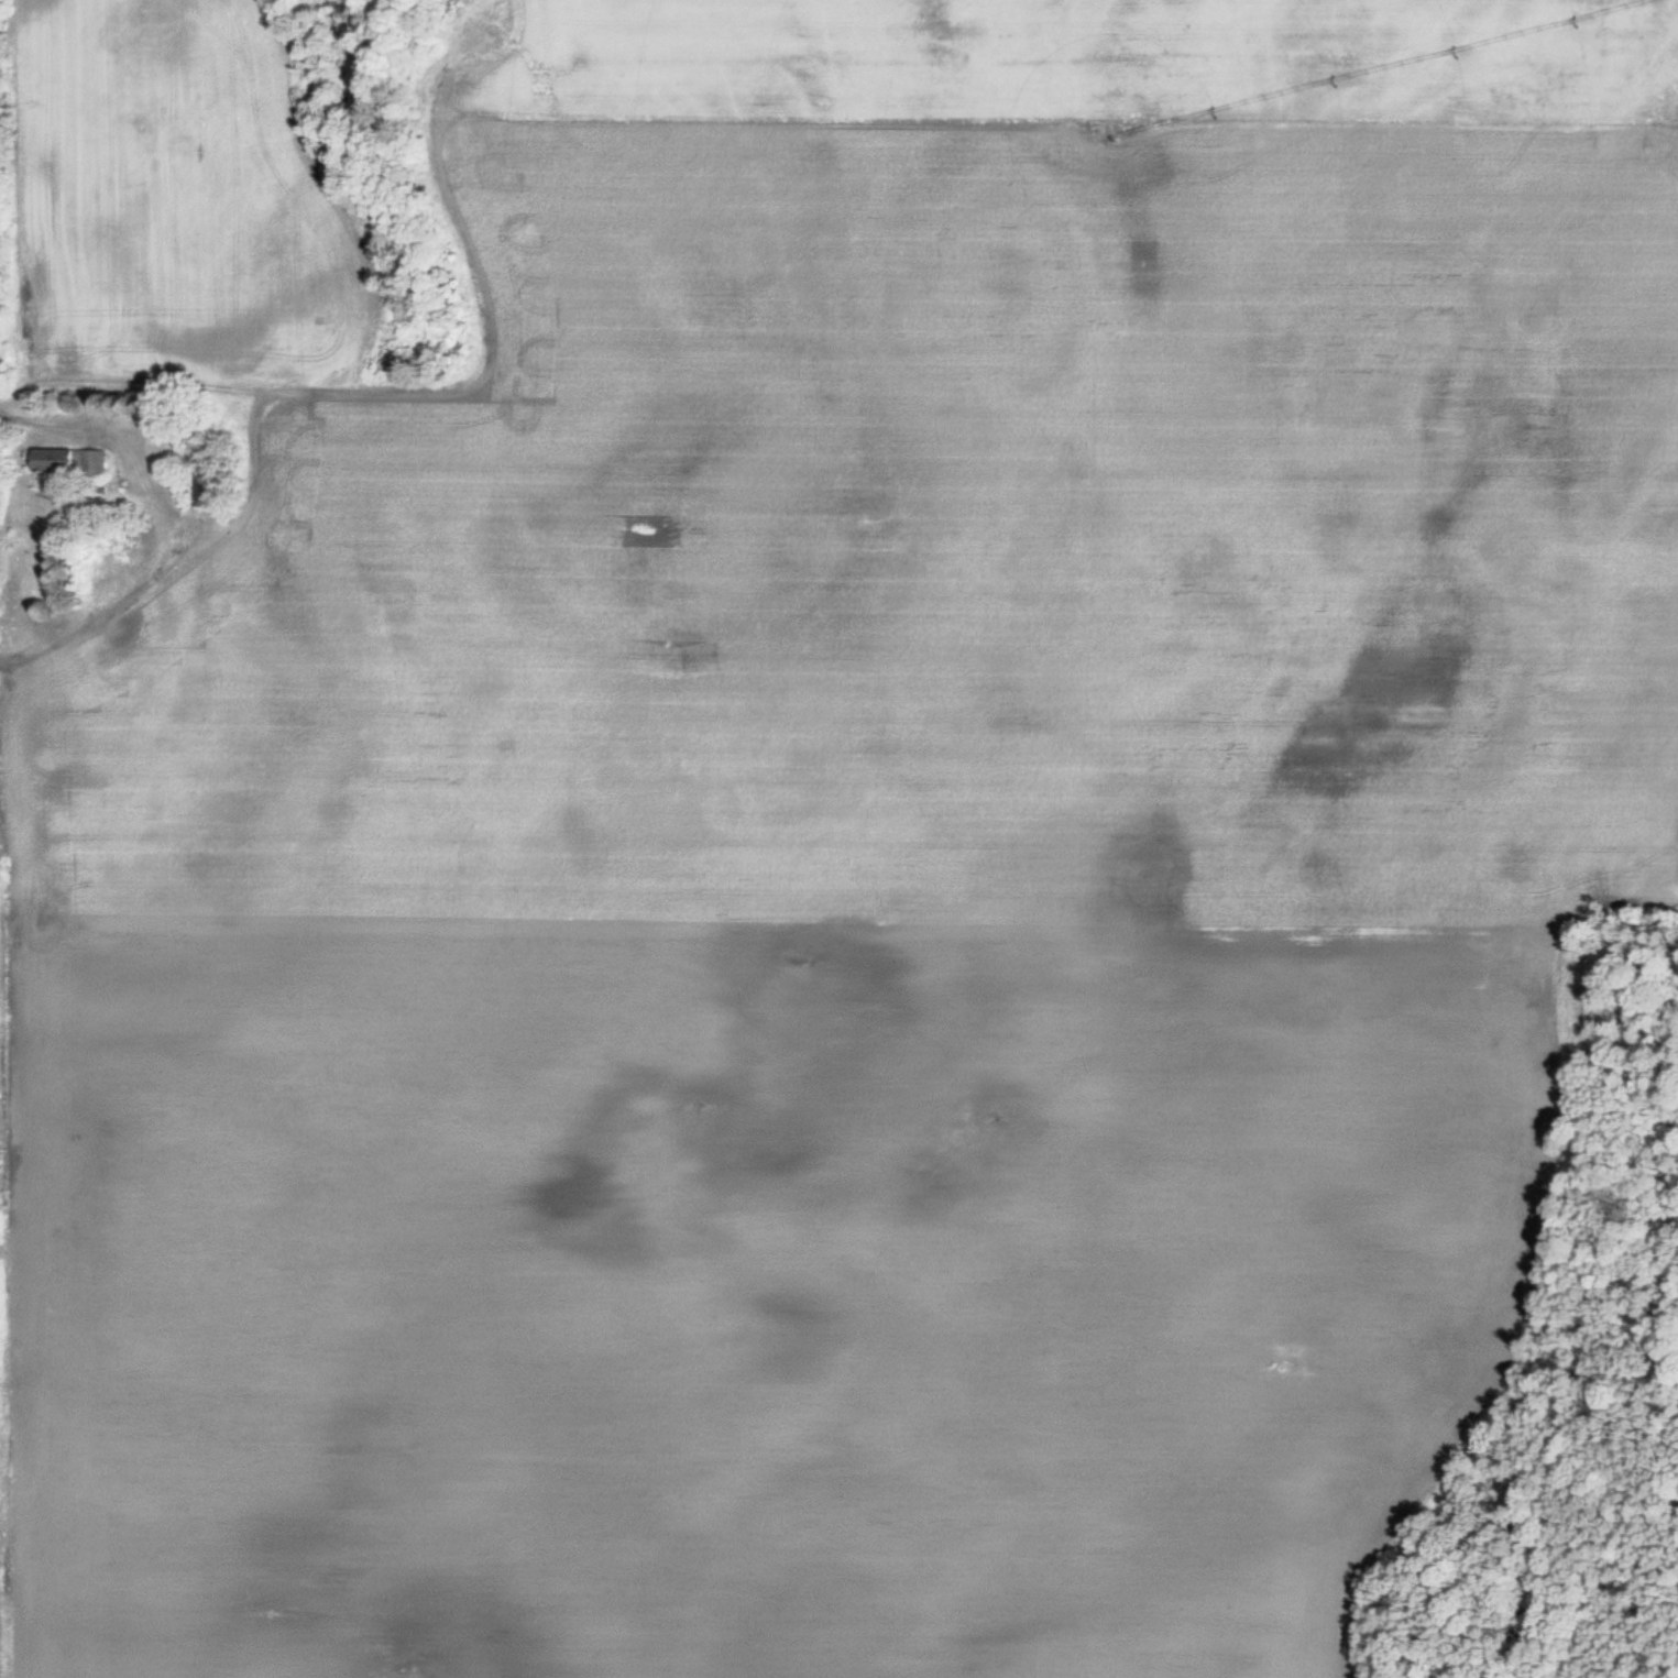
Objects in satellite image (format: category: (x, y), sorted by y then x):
building: (75, 461)
building: (210, 478)

